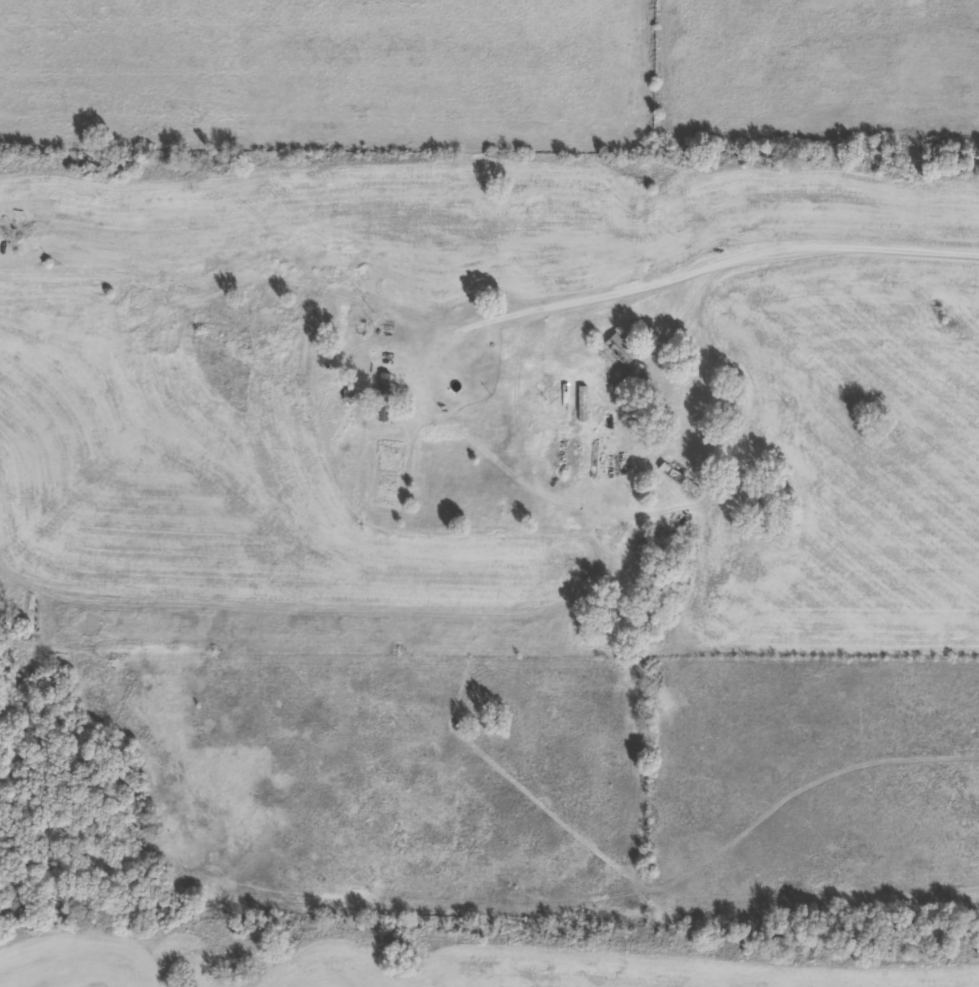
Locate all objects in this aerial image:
road: (489, 194)
building: (622, 347)
building: (603, 380)
building: (347, 395)

